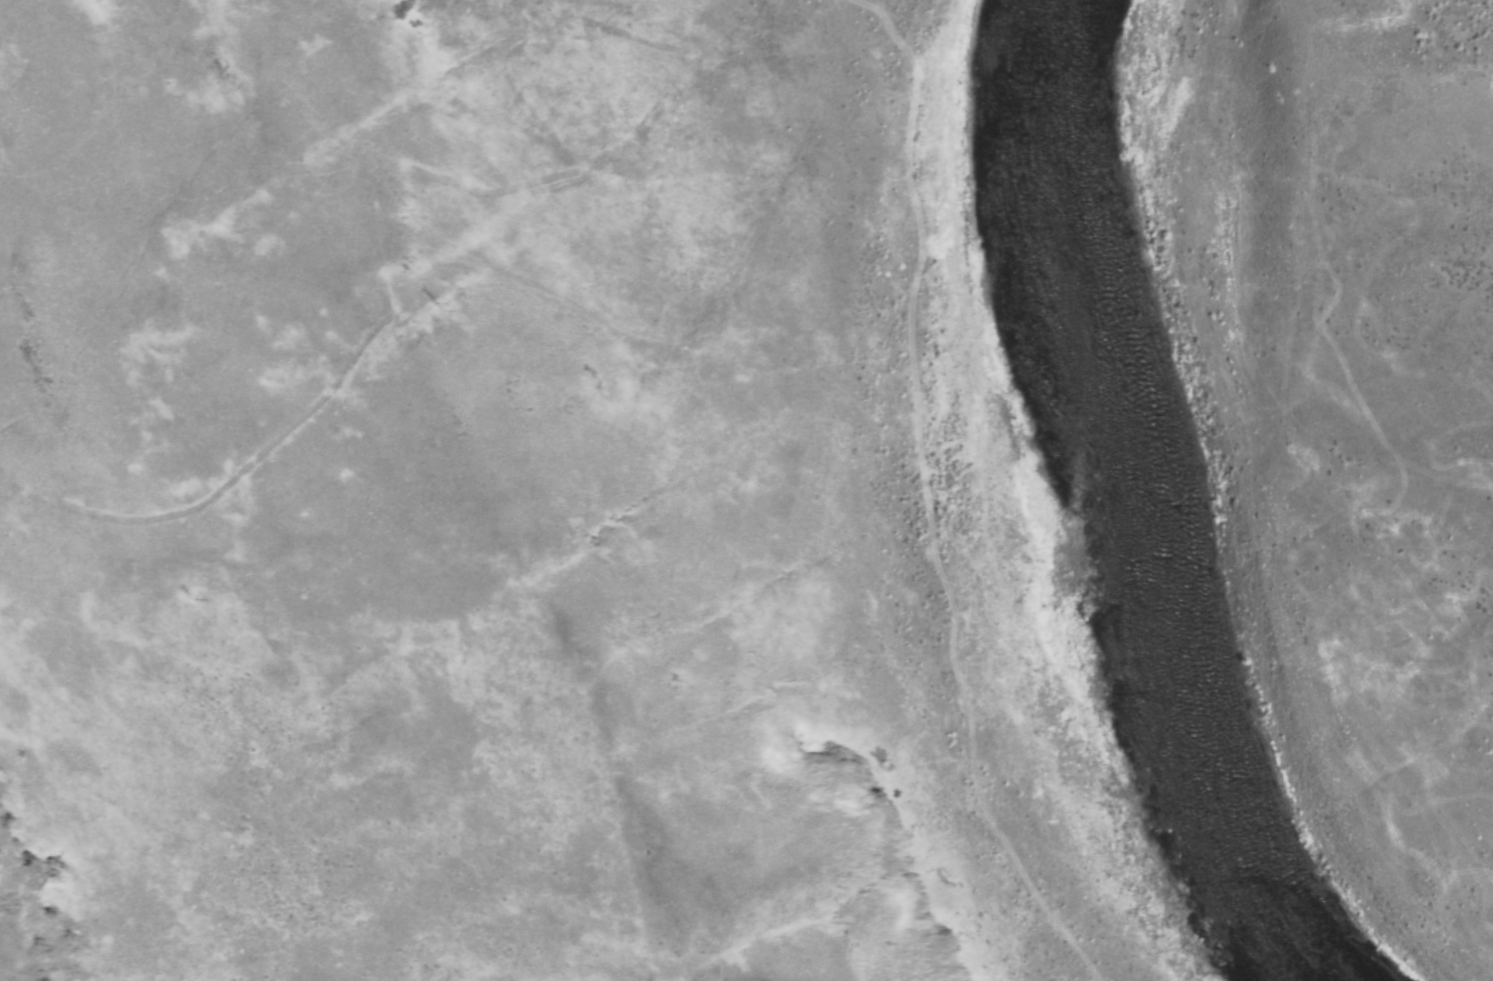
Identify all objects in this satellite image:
river: (1143, 508)

